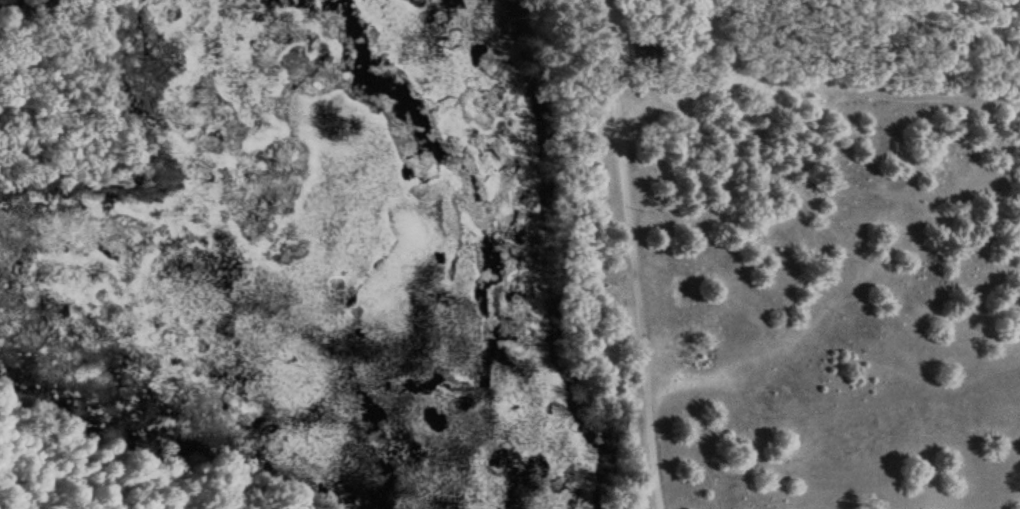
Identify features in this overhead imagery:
road: (631, 254)

